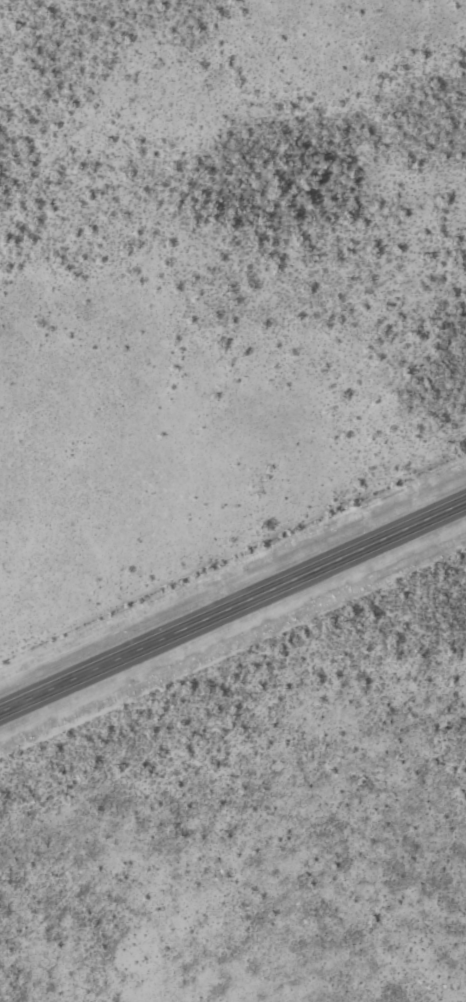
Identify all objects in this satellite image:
road: (233, 611)

